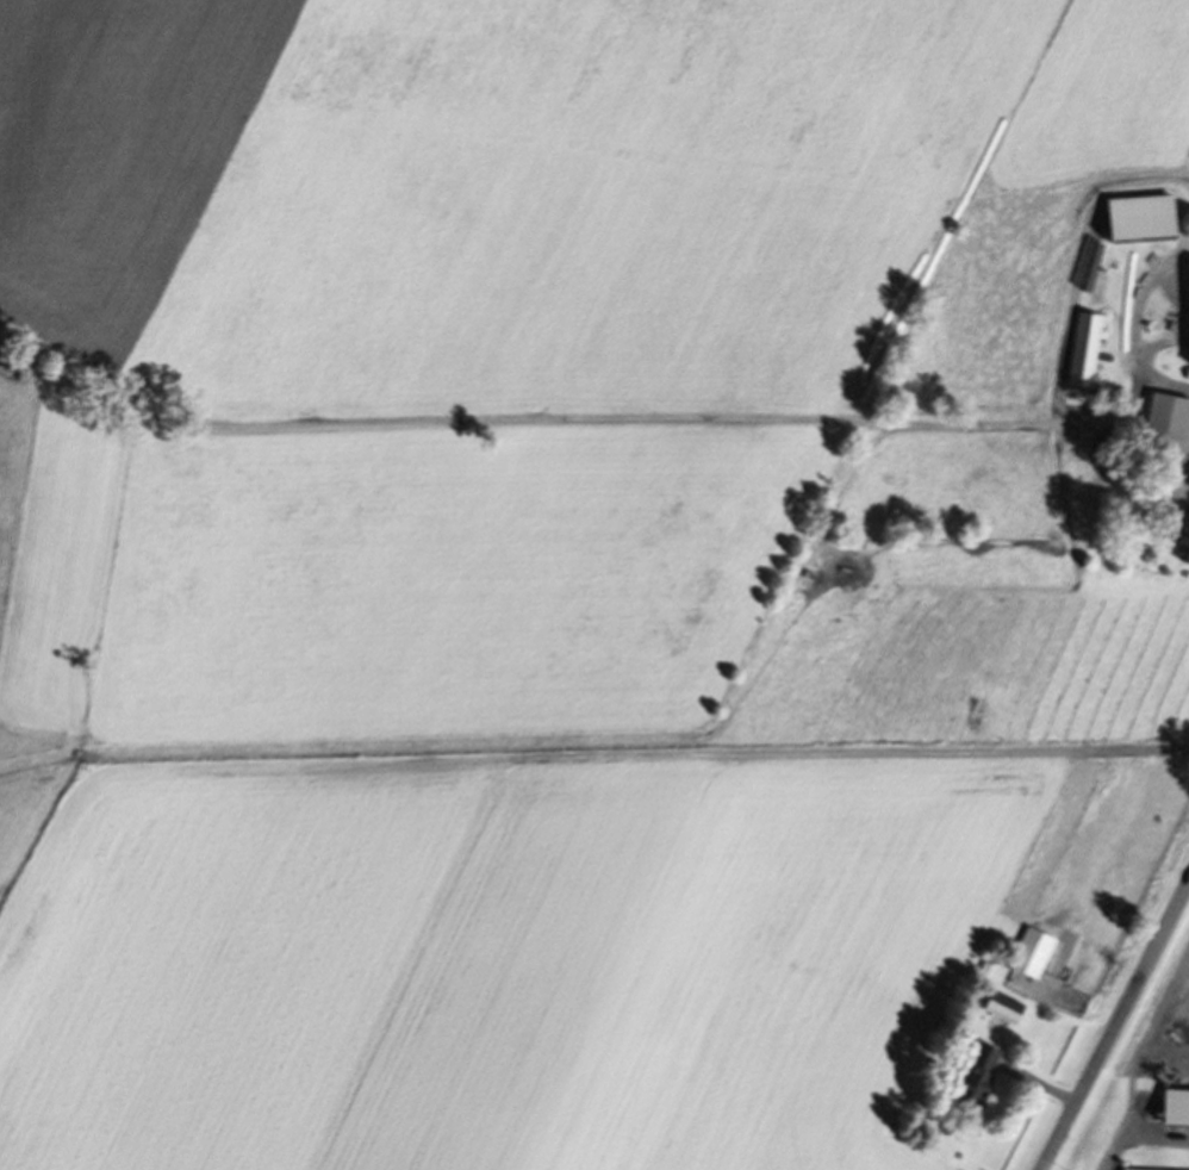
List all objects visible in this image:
road: (1129, 326)
building: (1188, 334)
building: (1084, 354)
building: (1165, 432)
building: (1177, 534)
building: (1031, 957)
building: (1000, 1012)
road: (1115, 1026)
building: (975, 1081)

